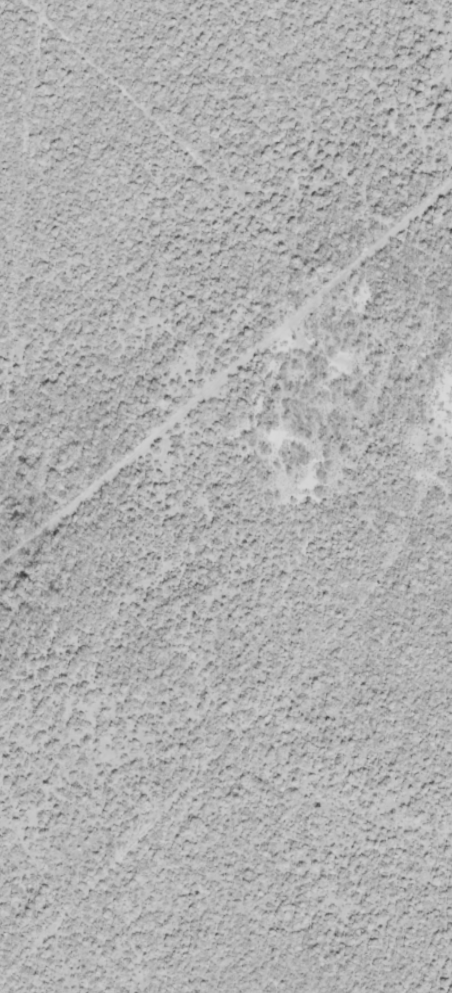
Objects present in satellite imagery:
road: (287, 810)

